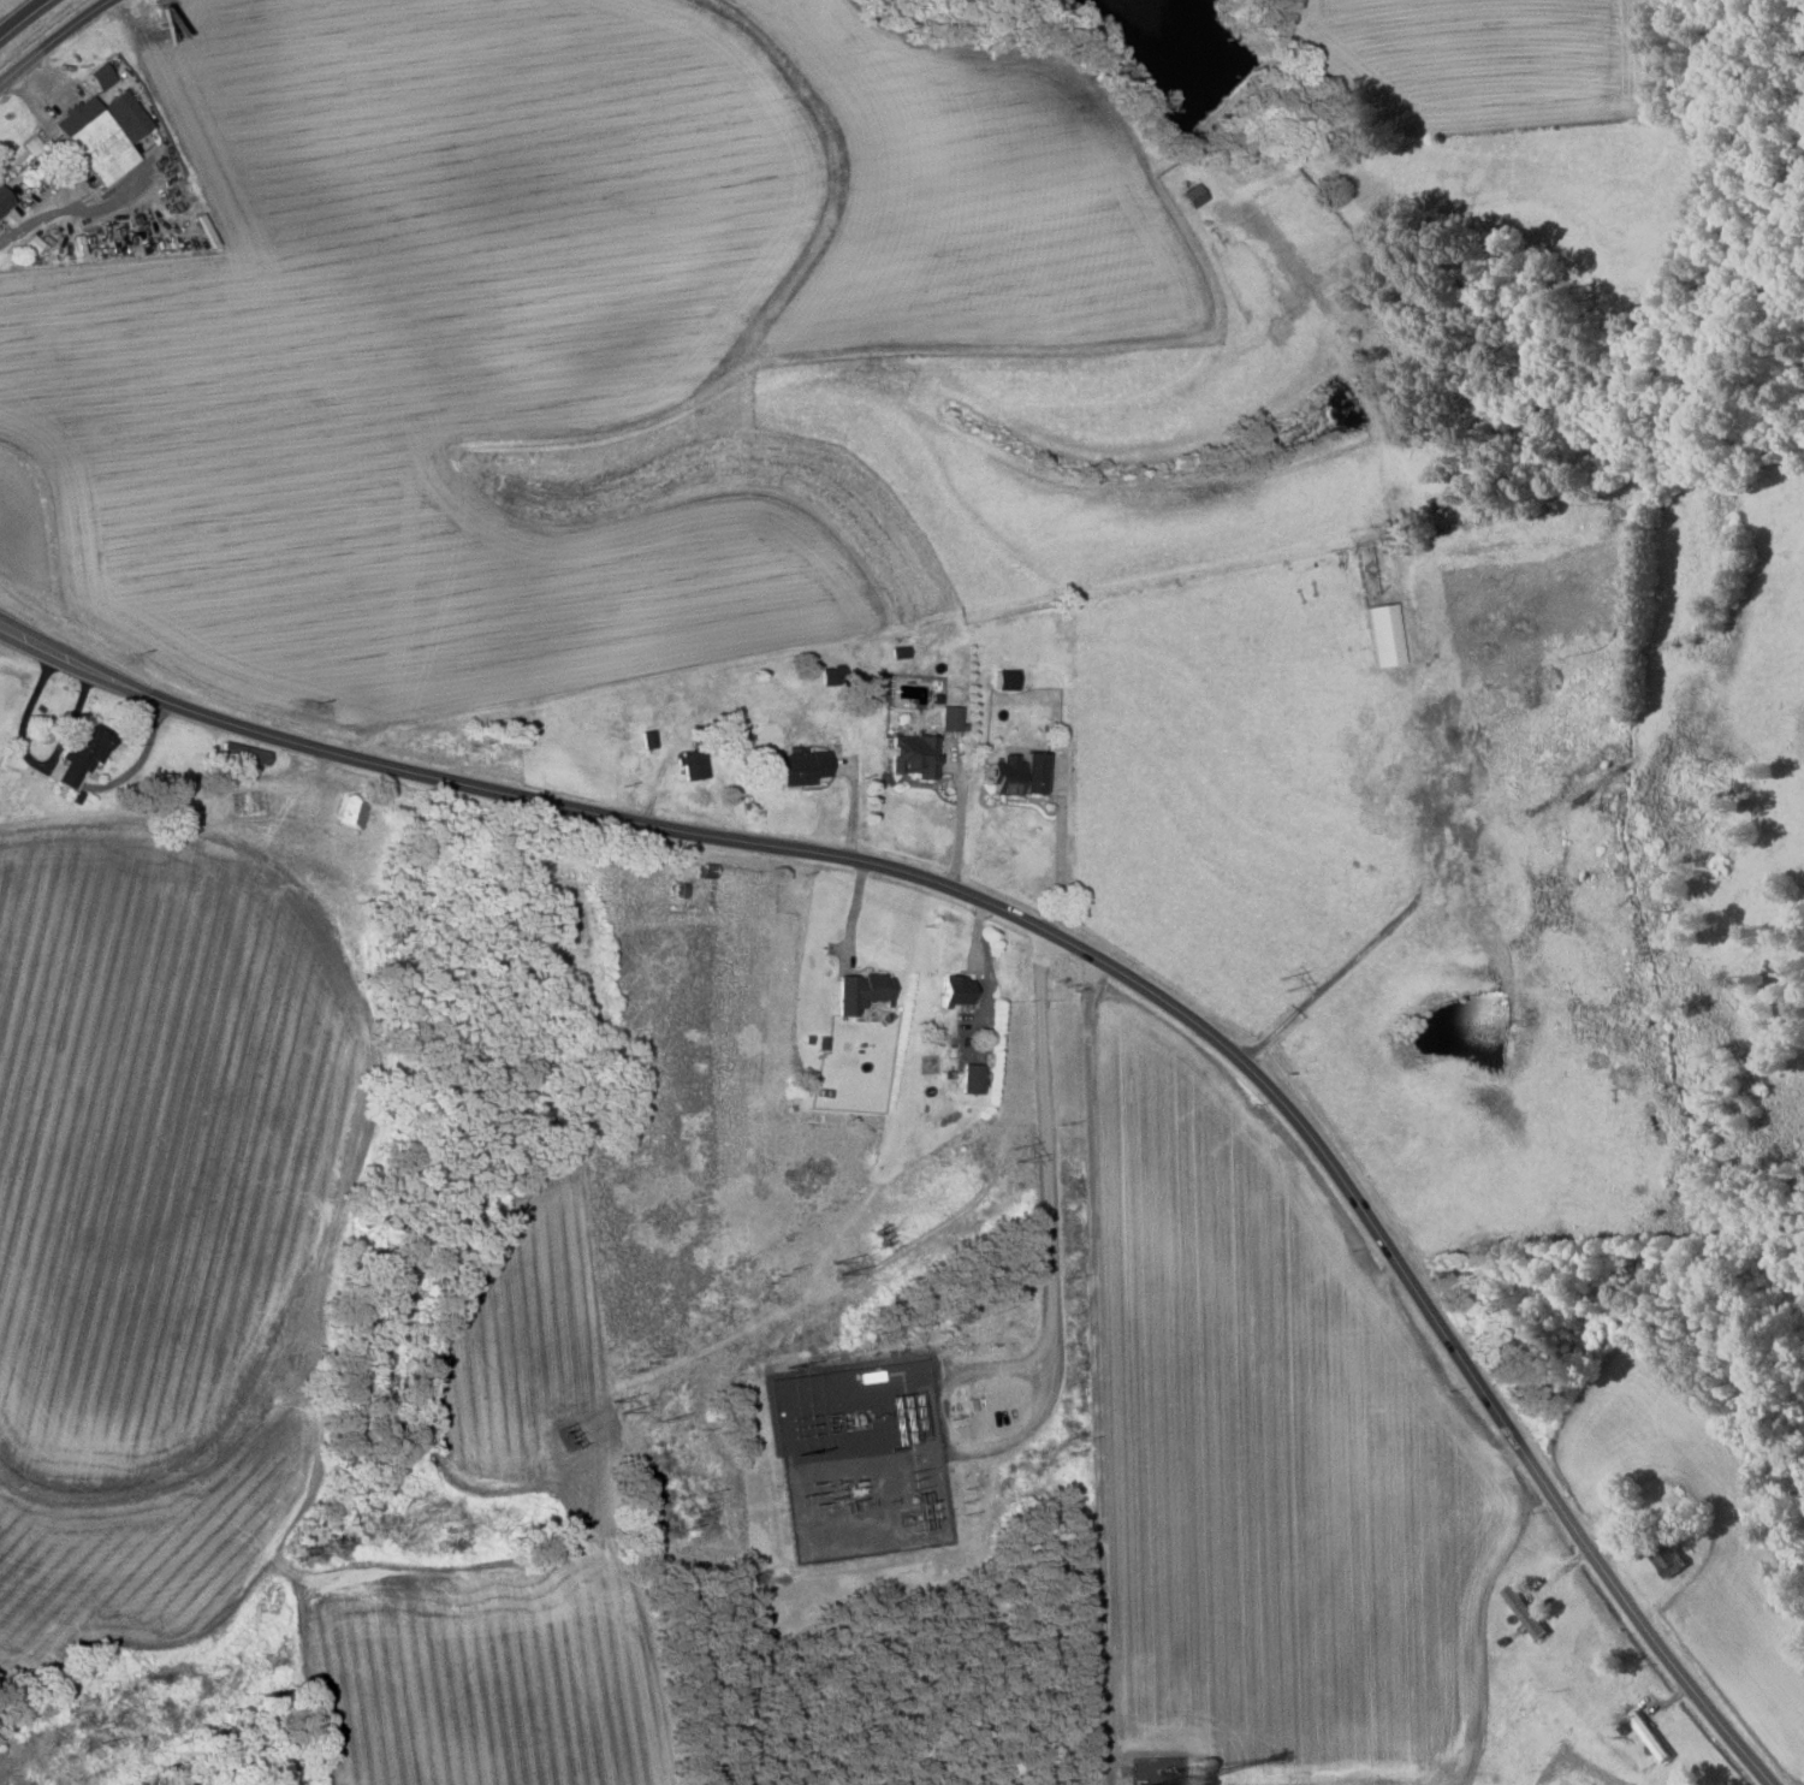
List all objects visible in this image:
road: (23, 17)
road: (52, 38)
building: (99, 76)
building: (102, 134)
building: (1193, 195)
building: (4, 200)
road: (55, 212)
building: (1384, 634)
building: (950, 717)
building: (82, 754)
building: (242, 754)
building: (913, 755)
building: (693, 764)
building: (799, 766)
building: (1017, 773)
building: (350, 812)
road: (959, 817)
road: (1057, 850)
road: (1062, 939)
road: (1322, 978)
building: (956, 990)
building: (861, 991)
power tower: (1271, 994)
building: (972, 1078)
power tower: (1011, 1154)
power tower: (841, 1270)
power tower: (619, 1402)
power substation: (861, 1458)
building: (1671, 1562)
building: (1525, 1611)
power tower: (96, 1733)
building: (1649, 1734)

